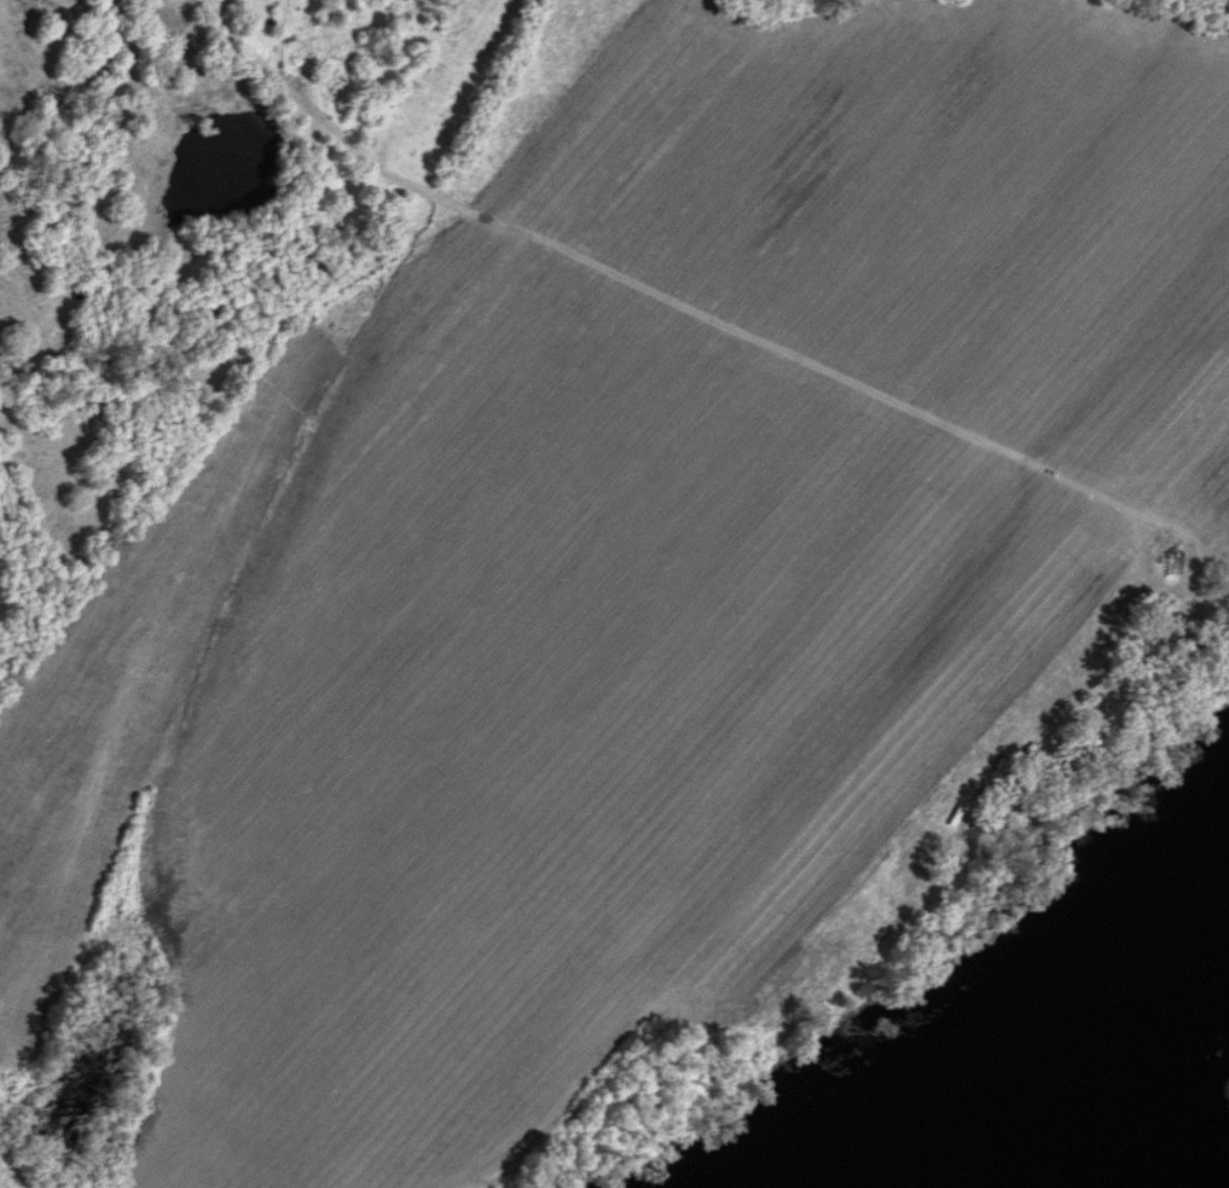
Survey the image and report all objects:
road: (656, 291)
river: (1092, 1067)

